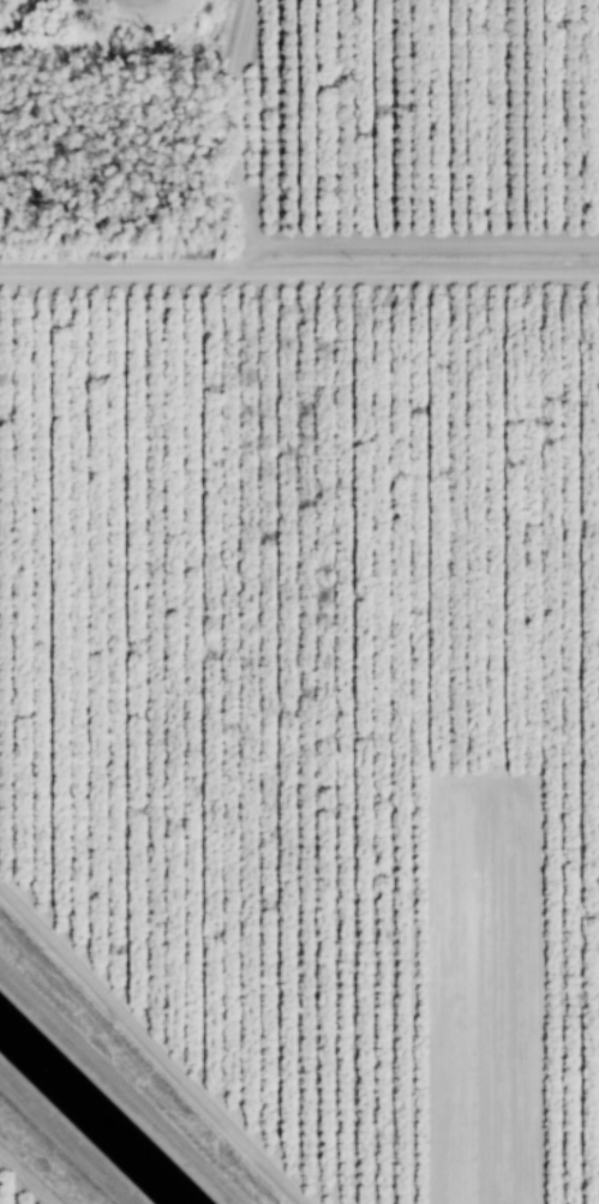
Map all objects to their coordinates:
road: (299, 268)
road: (150, 1047)
road: (25, 1178)

